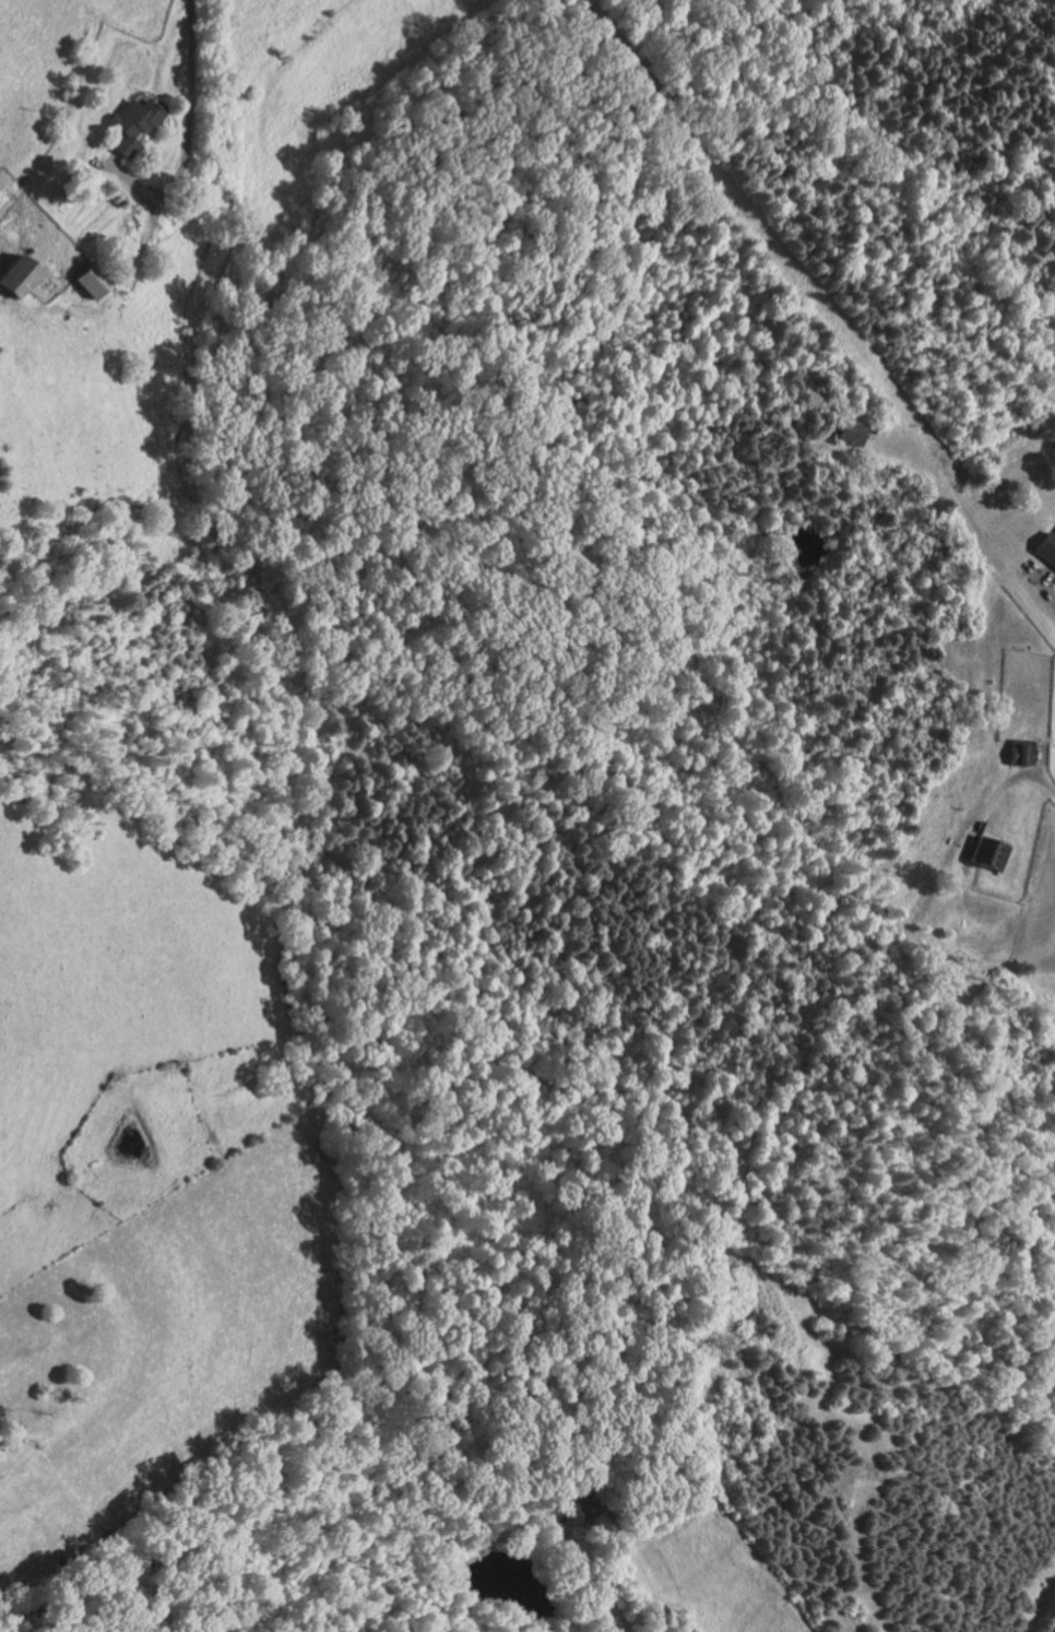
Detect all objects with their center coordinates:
building: (130, 123)
road: (186, 135)
road: (105, 163)
road: (150, 204)
road: (143, 239)
building: (14, 275)
building: (88, 281)
building: (851, 430)
building: (1048, 546)
road: (1046, 573)
road: (1043, 587)
building: (1023, 752)
road: (1042, 759)
road: (996, 792)
building: (988, 854)
building: (583, 1507)
road: (594, 1578)

